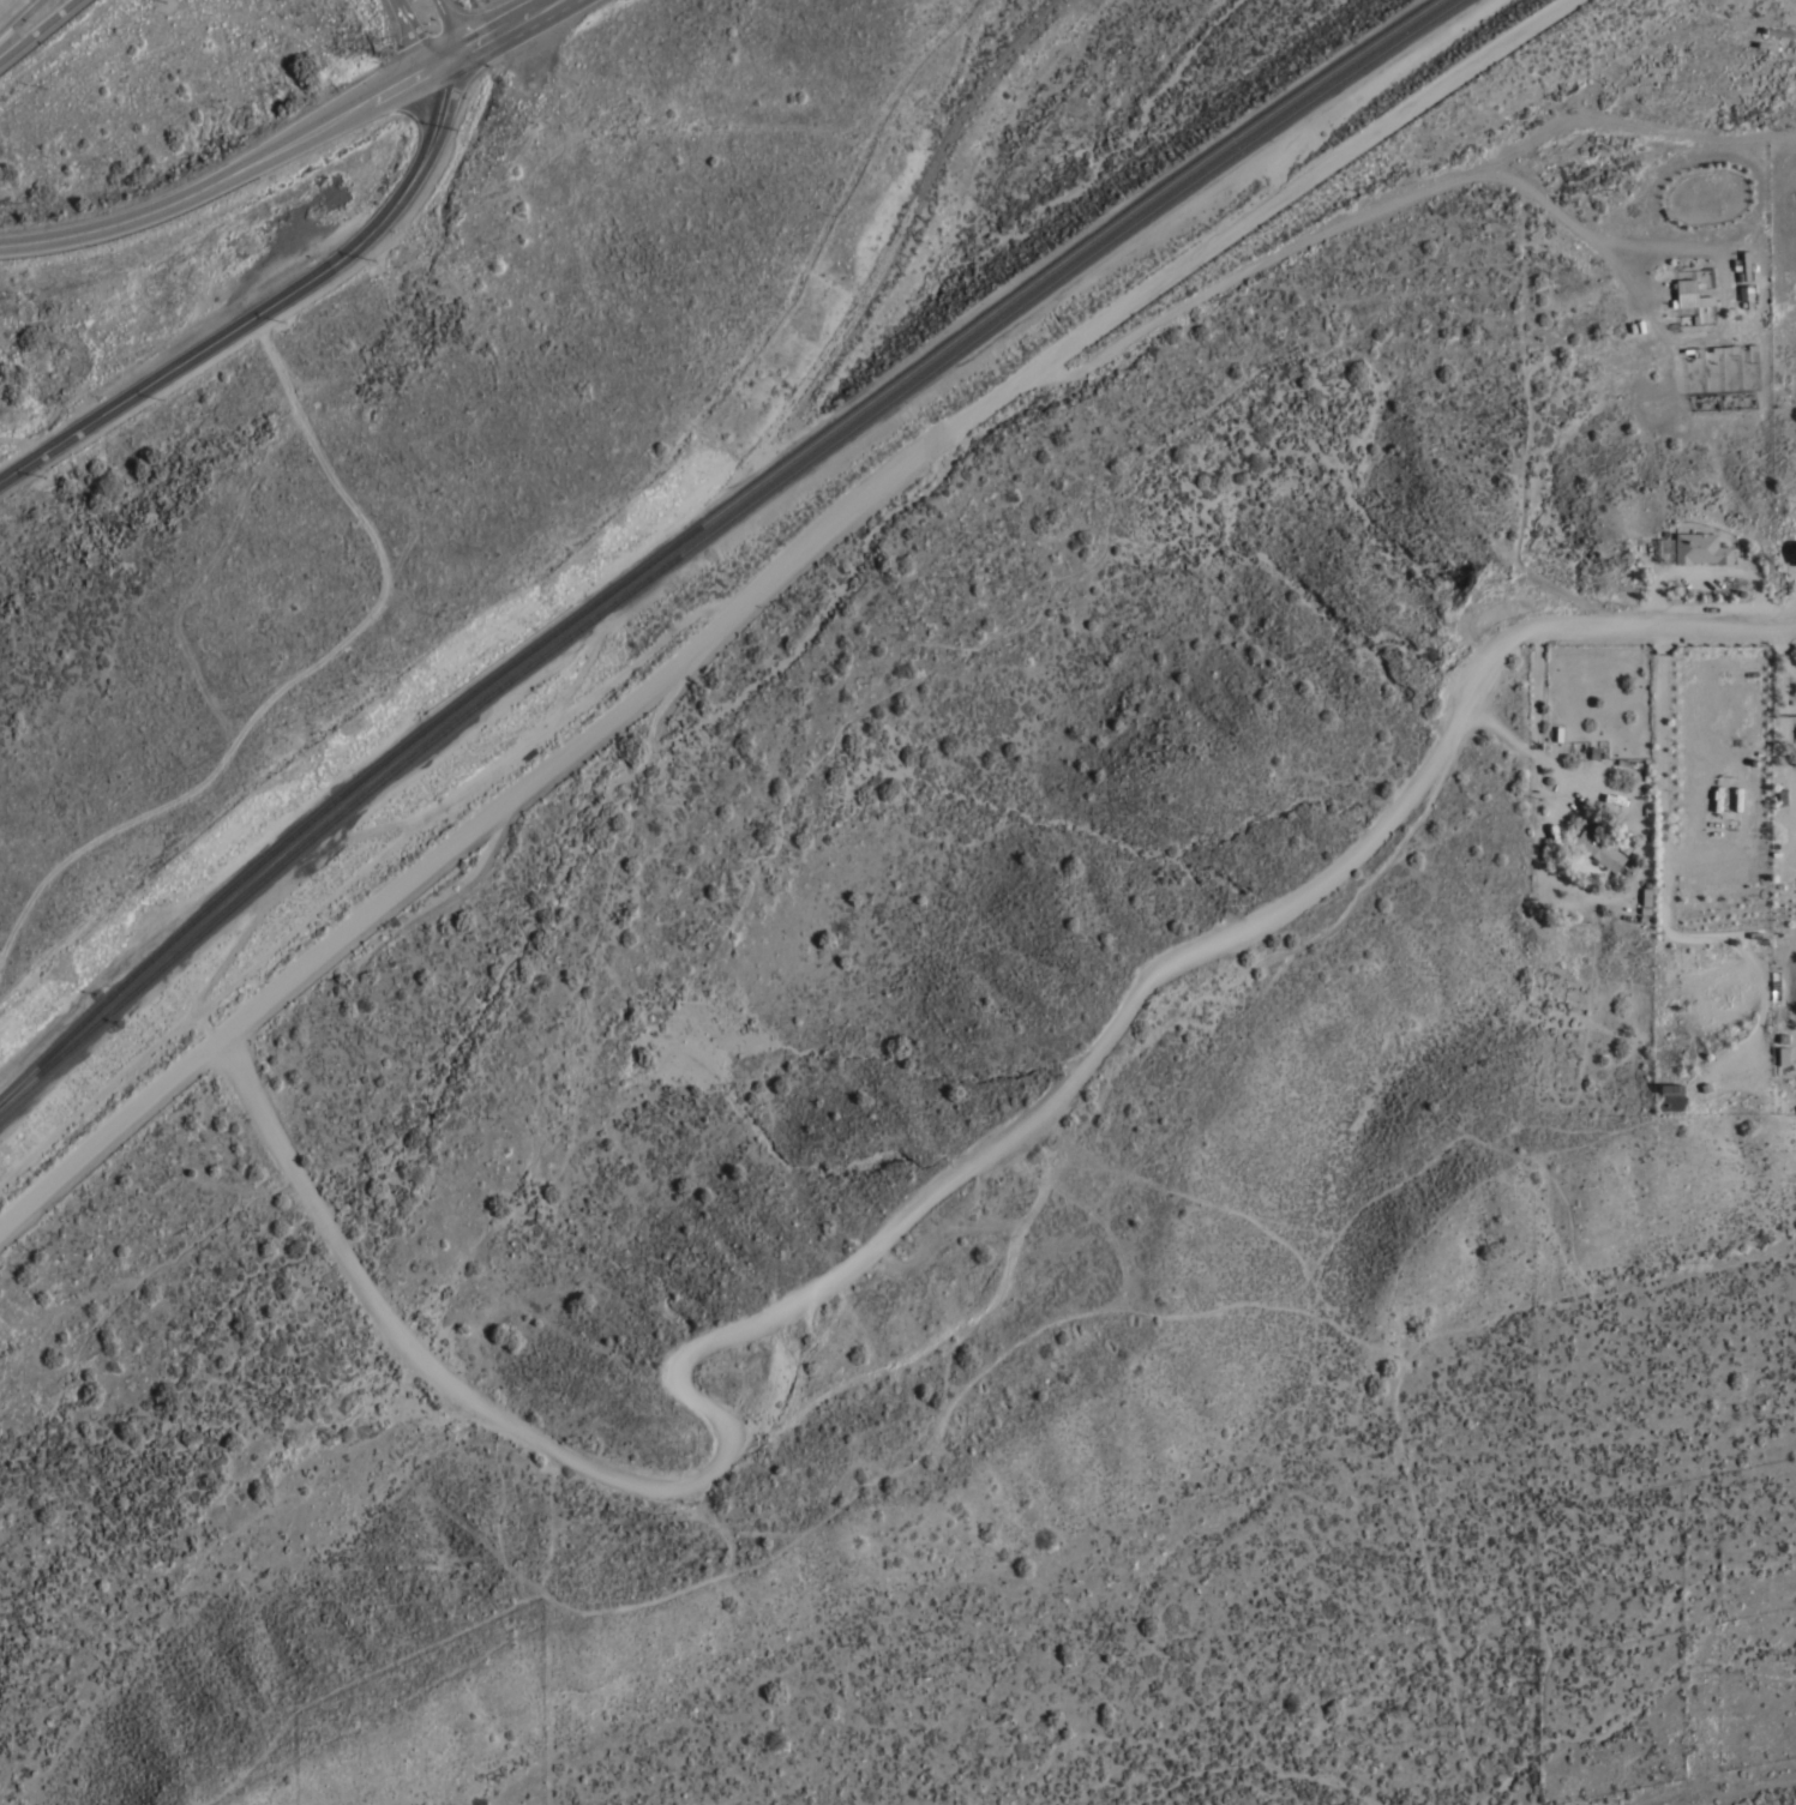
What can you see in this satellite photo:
road: (8, 7)
road: (445, 20)
road: (416, 26)
road: (36, 28)
road: (270, 140)
building: (1689, 294)
road: (276, 302)
railway: (697, 524)
railway: (710, 531)
building: (1700, 547)
building: (1794, 552)
road: (775, 597)
road: (1533, 730)
road: (1554, 769)
building: (1598, 848)
building: (1730, 1077)
road: (953, 1184)

